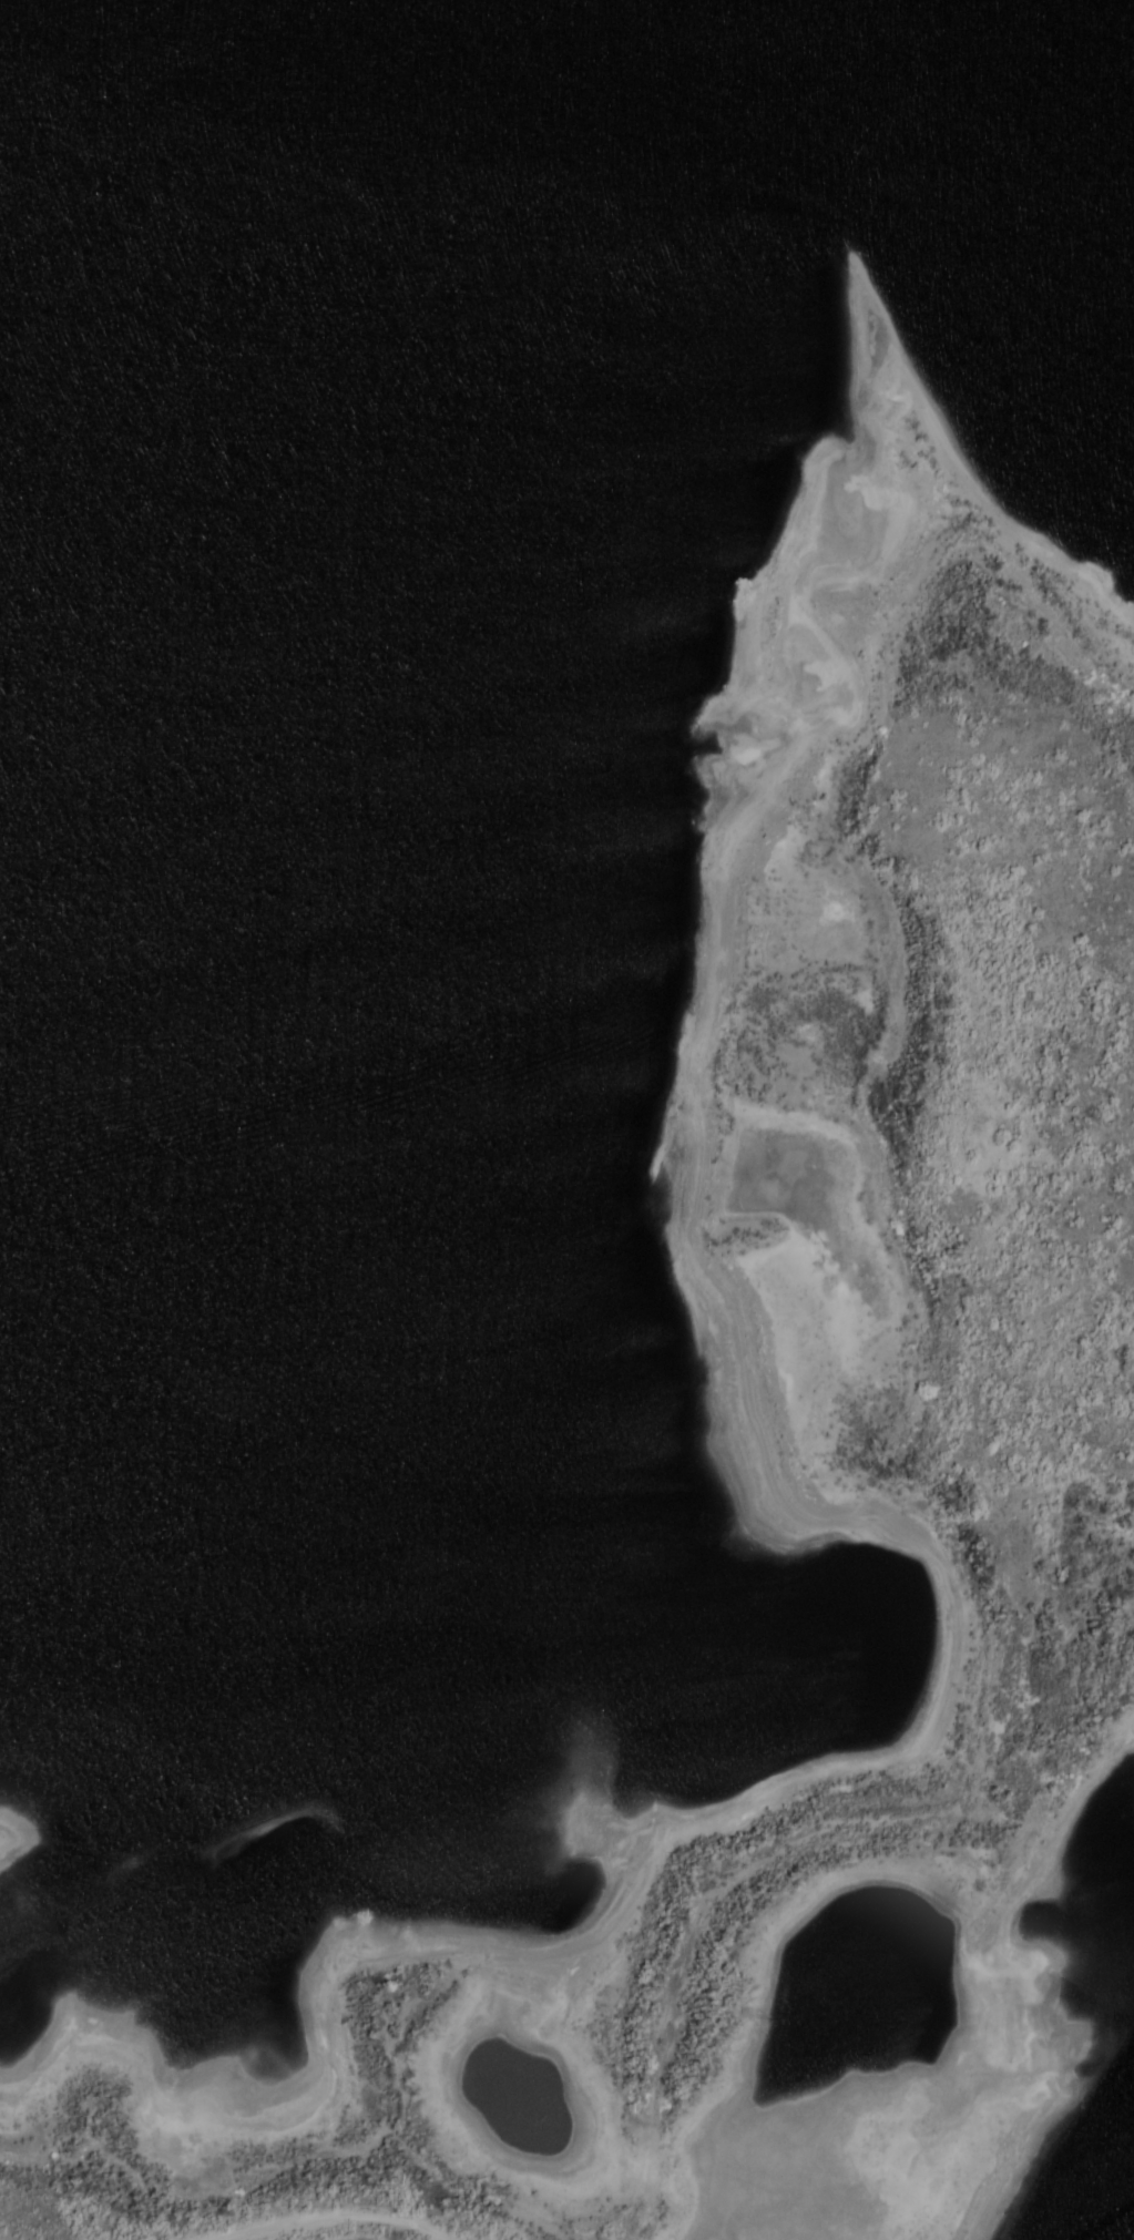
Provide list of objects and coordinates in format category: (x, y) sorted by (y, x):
road: (338, 2212)

